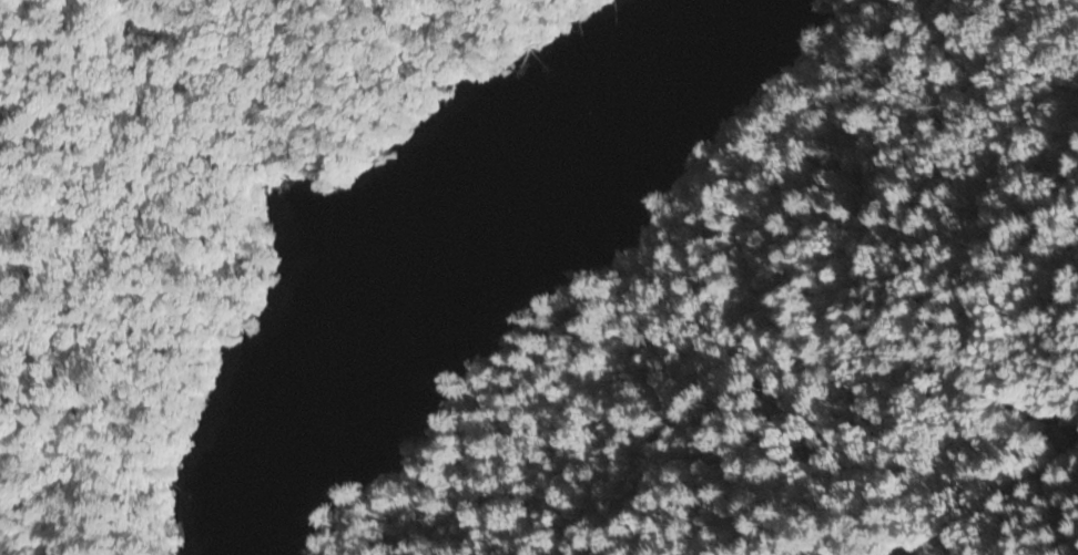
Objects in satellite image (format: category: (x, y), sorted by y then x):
road: (940, 348)
road: (905, 548)

